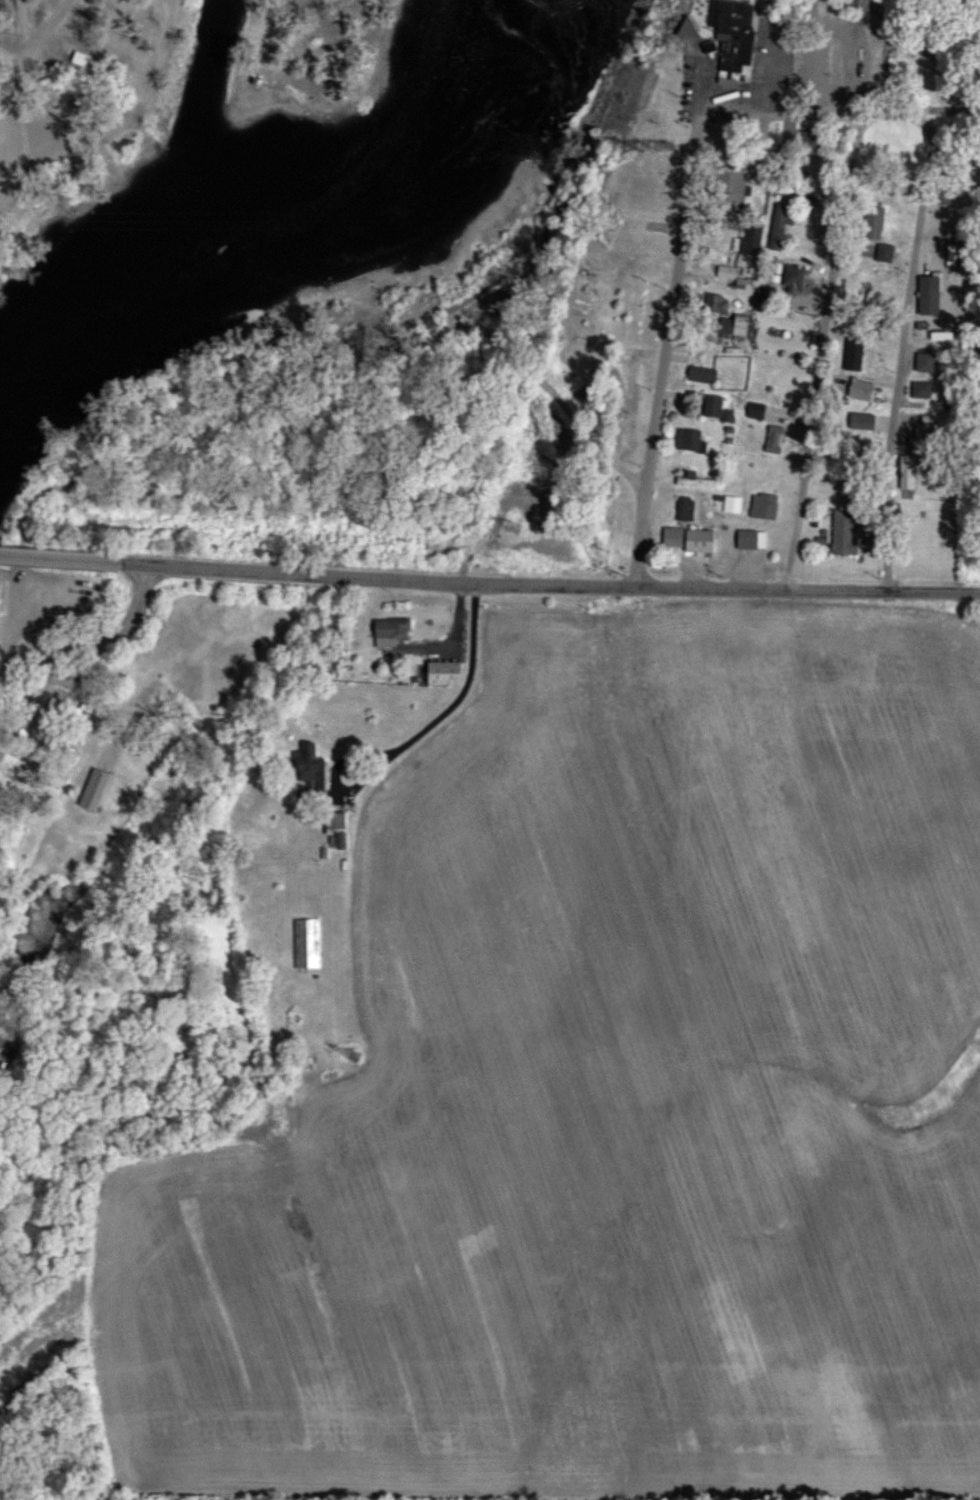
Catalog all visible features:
road: (18, 26)
building: (731, 31)
road: (758, 68)
road: (847, 80)
road: (23, 90)
road: (868, 110)
building: (729, 188)
building: (778, 219)
building: (872, 222)
building: (746, 240)
river: (264, 242)
building: (883, 252)
building: (724, 271)
building: (774, 271)
building: (792, 278)
road: (500, 289)
building: (926, 295)
building: (714, 303)
building: (732, 324)
road: (672, 326)
road: (904, 345)
road: (822, 350)
building: (851, 355)
building: (923, 362)
building: (700, 374)
building: (858, 389)
building: (920, 389)
building: (711, 406)
building: (754, 410)
building: (725, 415)
building: (772, 438)
building: (686, 439)
building: (905, 471)
building: (693, 479)
building: (730, 503)
building: (762, 505)
building: (683, 507)
building: (843, 531)
building: (687, 538)
building: (749, 538)
road: (70, 559)
road: (559, 584)
parking lot: (19, 592)
building: (388, 630)
road: (87, 640)
building: (442, 672)
road: (462, 683)
building: (308, 766)
road: (349, 784)
building: (92, 788)
building: (334, 820)
building: (339, 839)
building: (305, 942)

